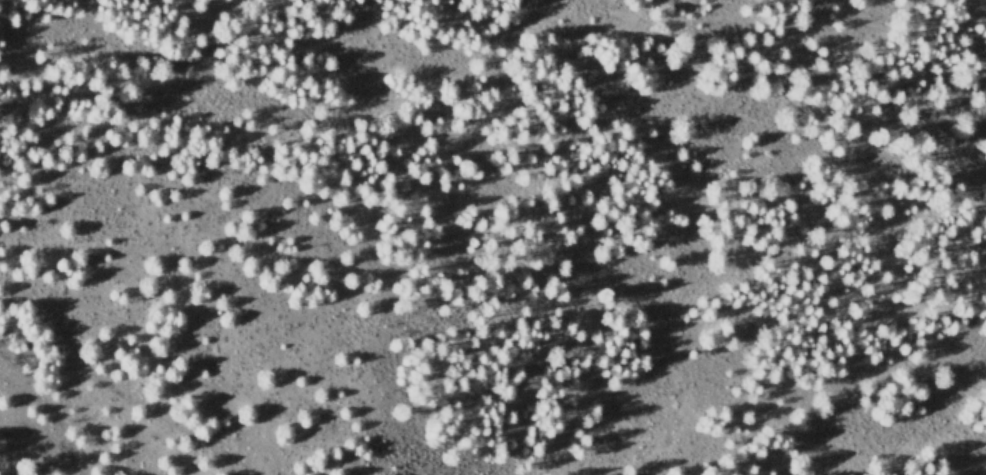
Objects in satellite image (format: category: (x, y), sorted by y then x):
road: (723, 28)

